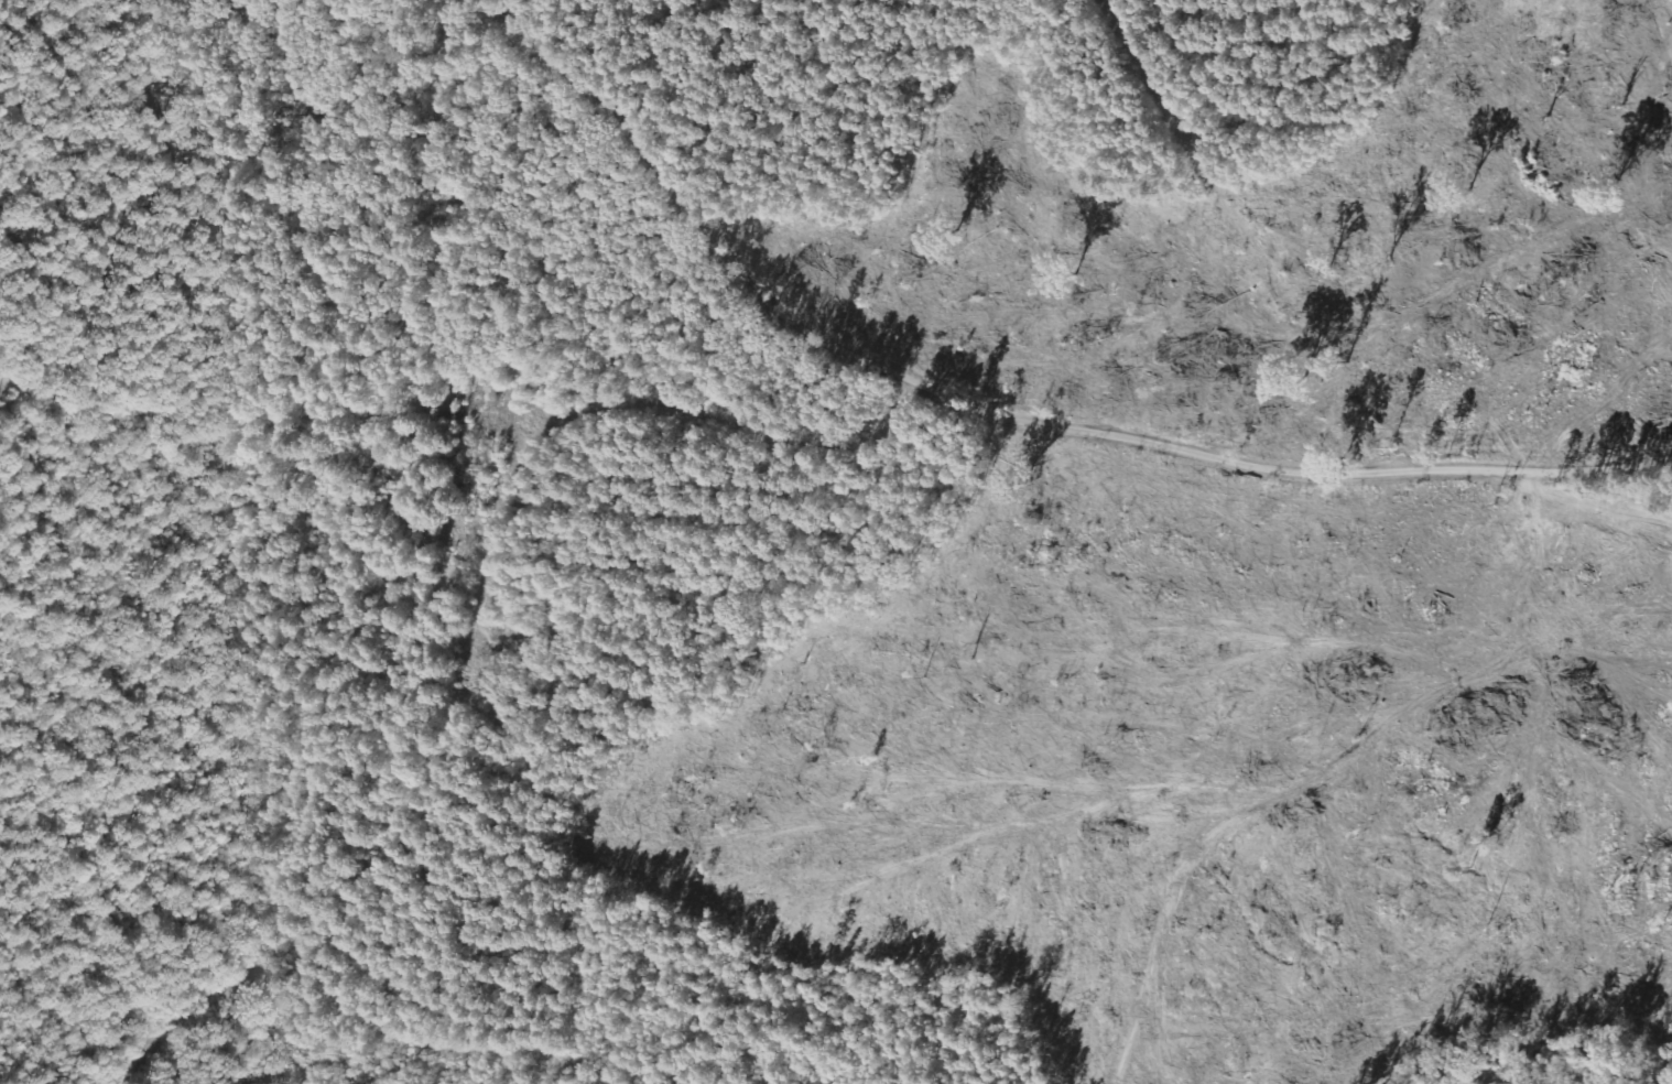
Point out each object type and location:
road: (999, 416)

